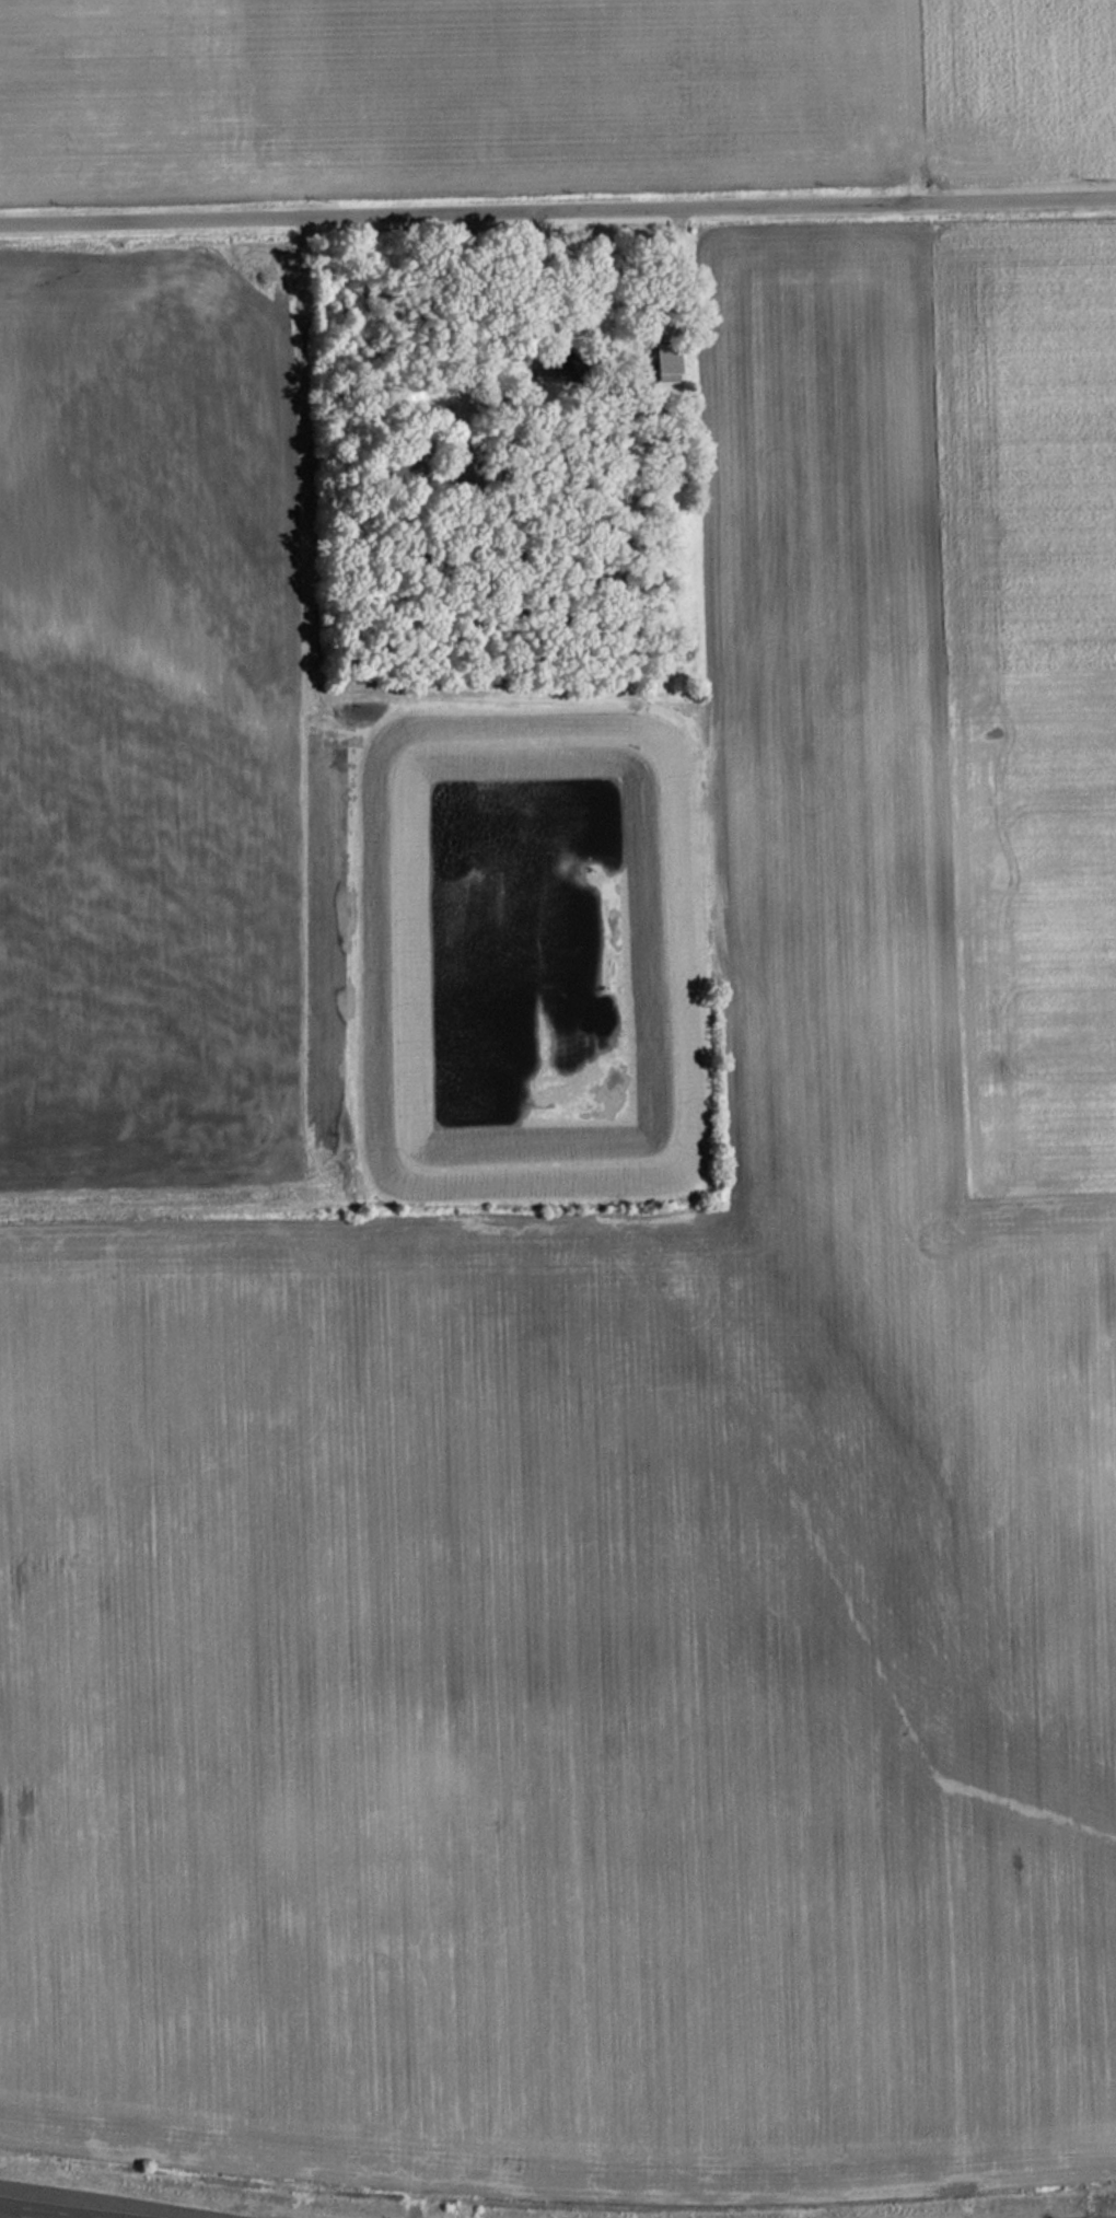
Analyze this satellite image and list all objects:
road: (558, 207)
road: (50, 2210)

